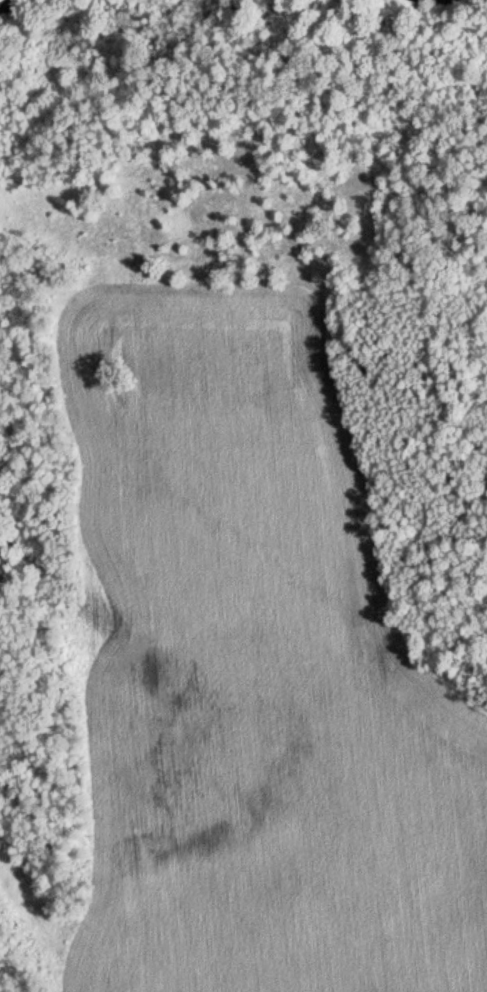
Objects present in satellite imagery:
river: (10, 4)

